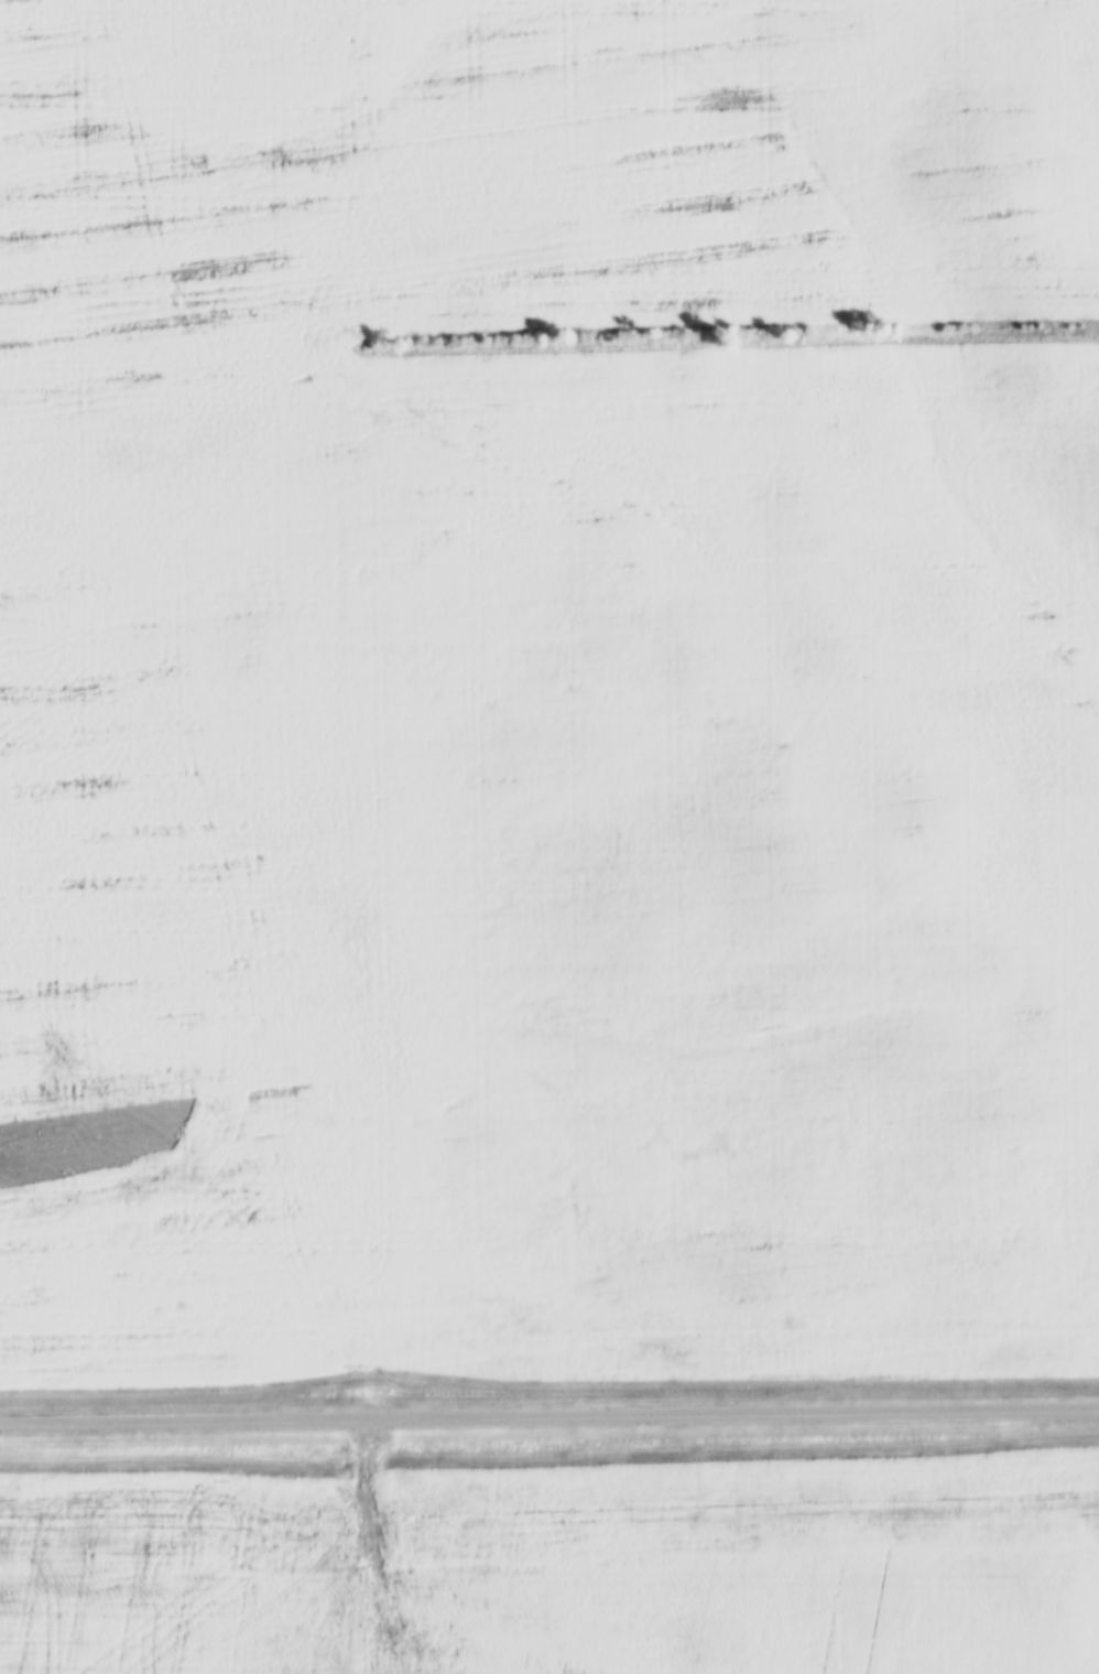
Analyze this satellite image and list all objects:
road: (549, 1416)

